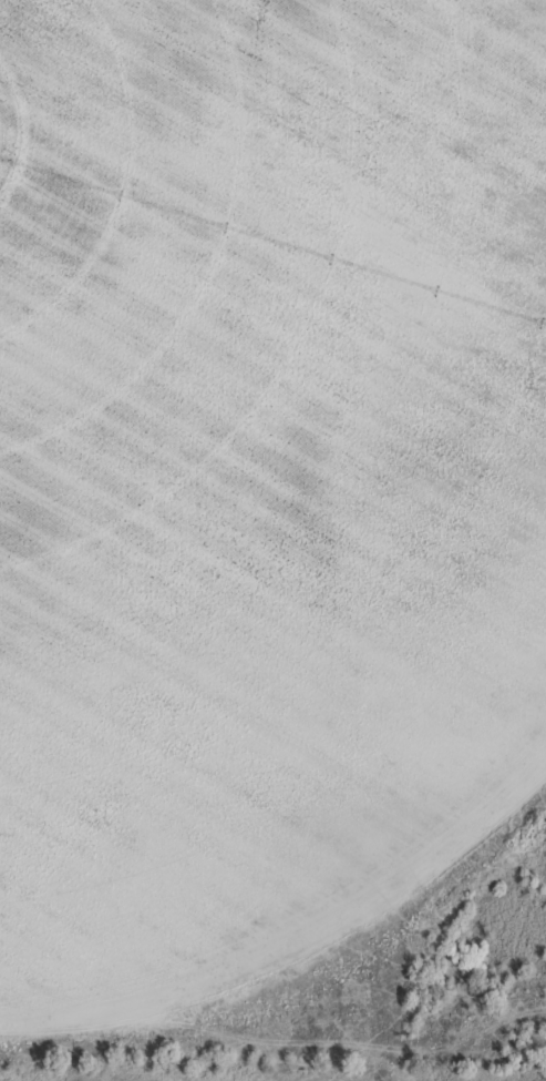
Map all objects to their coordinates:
crop: (272, 540)

